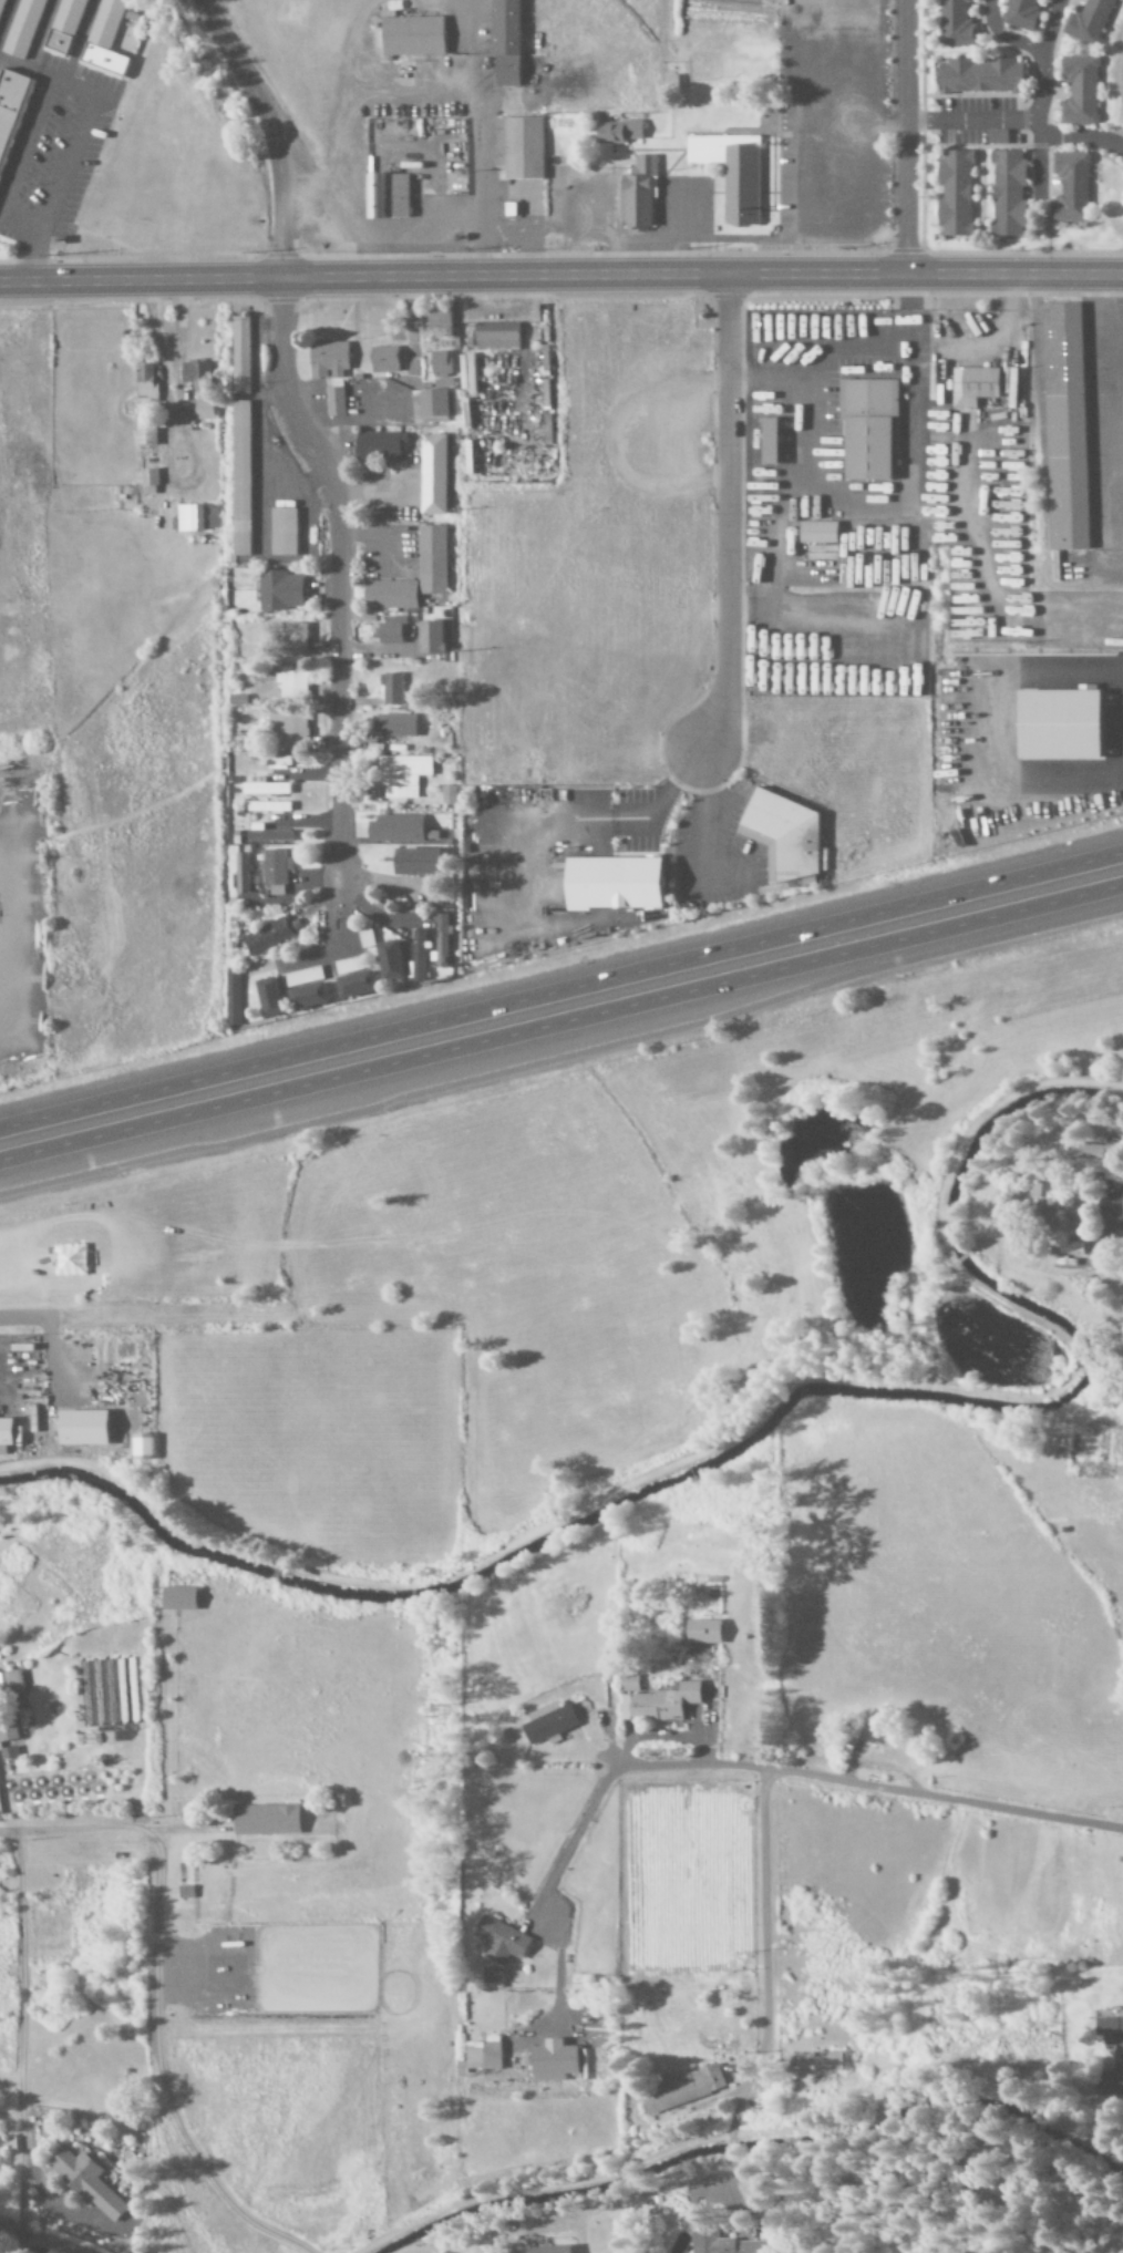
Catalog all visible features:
building: (1021, 14)
building: (1089, 21)
building: (955, 24)
building: (65, 25)
building: (23, 29)
building: (411, 37)
building: (104, 39)
building: (504, 43)
building: (978, 76)
building: (1079, 91)
building: (10, 109)
road: (270, 130)
building: (616, 133)
road: (908, 136)
road: (472, 144)
building: (518, 148)
building: (730, 174)
building: (1069, 187)
building: (954, 194)
building: (1007, 194)
building: (637, 195)
building: (385, 197)
road: (560, 275)
building: (437, 321)
building: (495, 336)
building: (239, 354)
building: (327, 359)
building: (383, 359)
building: (194, 372)
building: (145, 382)
building: (973, 385)
building: (435, 387)
building: (333, 401)
building: (203, 410)
building: (1063, 425)
building: (867, 428)
building: (144, 432)
building: (767, 441)
building: (377, 445)
building: (432, 474)
building: (147, 476)
building: (239, 477)
building: (196, 517)
road: (731, 518)
building: (282, 532)
building: (818, 533)
building: (431, 559)
road: (332, 572)
building: (279, 590)
building: (389, 594)
building: (389, 631)
building: (429, 637)
building: (292, 638)
building: (291, 682)
building: (391, 689)
building: (393, 724)
building: (287, 729)
building: (270, 761)
building: (261, 788)
building: (447, 794)
building: (393, 829)
building: (266, 834)
building: (783, 836)
building: (414, 862)
building: (275, 866)
building: (239, 873)
building: (611, 883)
building: (266, 937)
building: (416, 956)
building: (388, 960)
building: (356, 984)
building: (306, 996)
building: (267, 997)
building: (230, 999)
road: (561, 1004)
building: (1093, 1160)
building: (1050, 1203)
road: (20, 1319)
building: (90, 1428)
building: (8, 1434)
building: (147, 1447)
building: (1119, 1478)
building: (177, 1598)
building: (702, 1632)
building: (10, 1680)
building: (628, 1684)
building: (657, 1704)
building: (547, 1721)
building: (8, 1729)
building: (8, 1751)
road: (945, 1799)
building: (264, 1820)
road: (583, 1824)
road: (69, 1829)
building: (499, 1941)
building: (491, 1974)
road: (766, 1983)
road: (20, 2047)
building: (1112, 2047)
building: (482, 2054)
building: (552, 2060)
building: (826, 2060)
road: (156, 2070)
building: (682, 2089)
building: (86, 2182)
road: (750, 2194)
building: (548, 2250)

